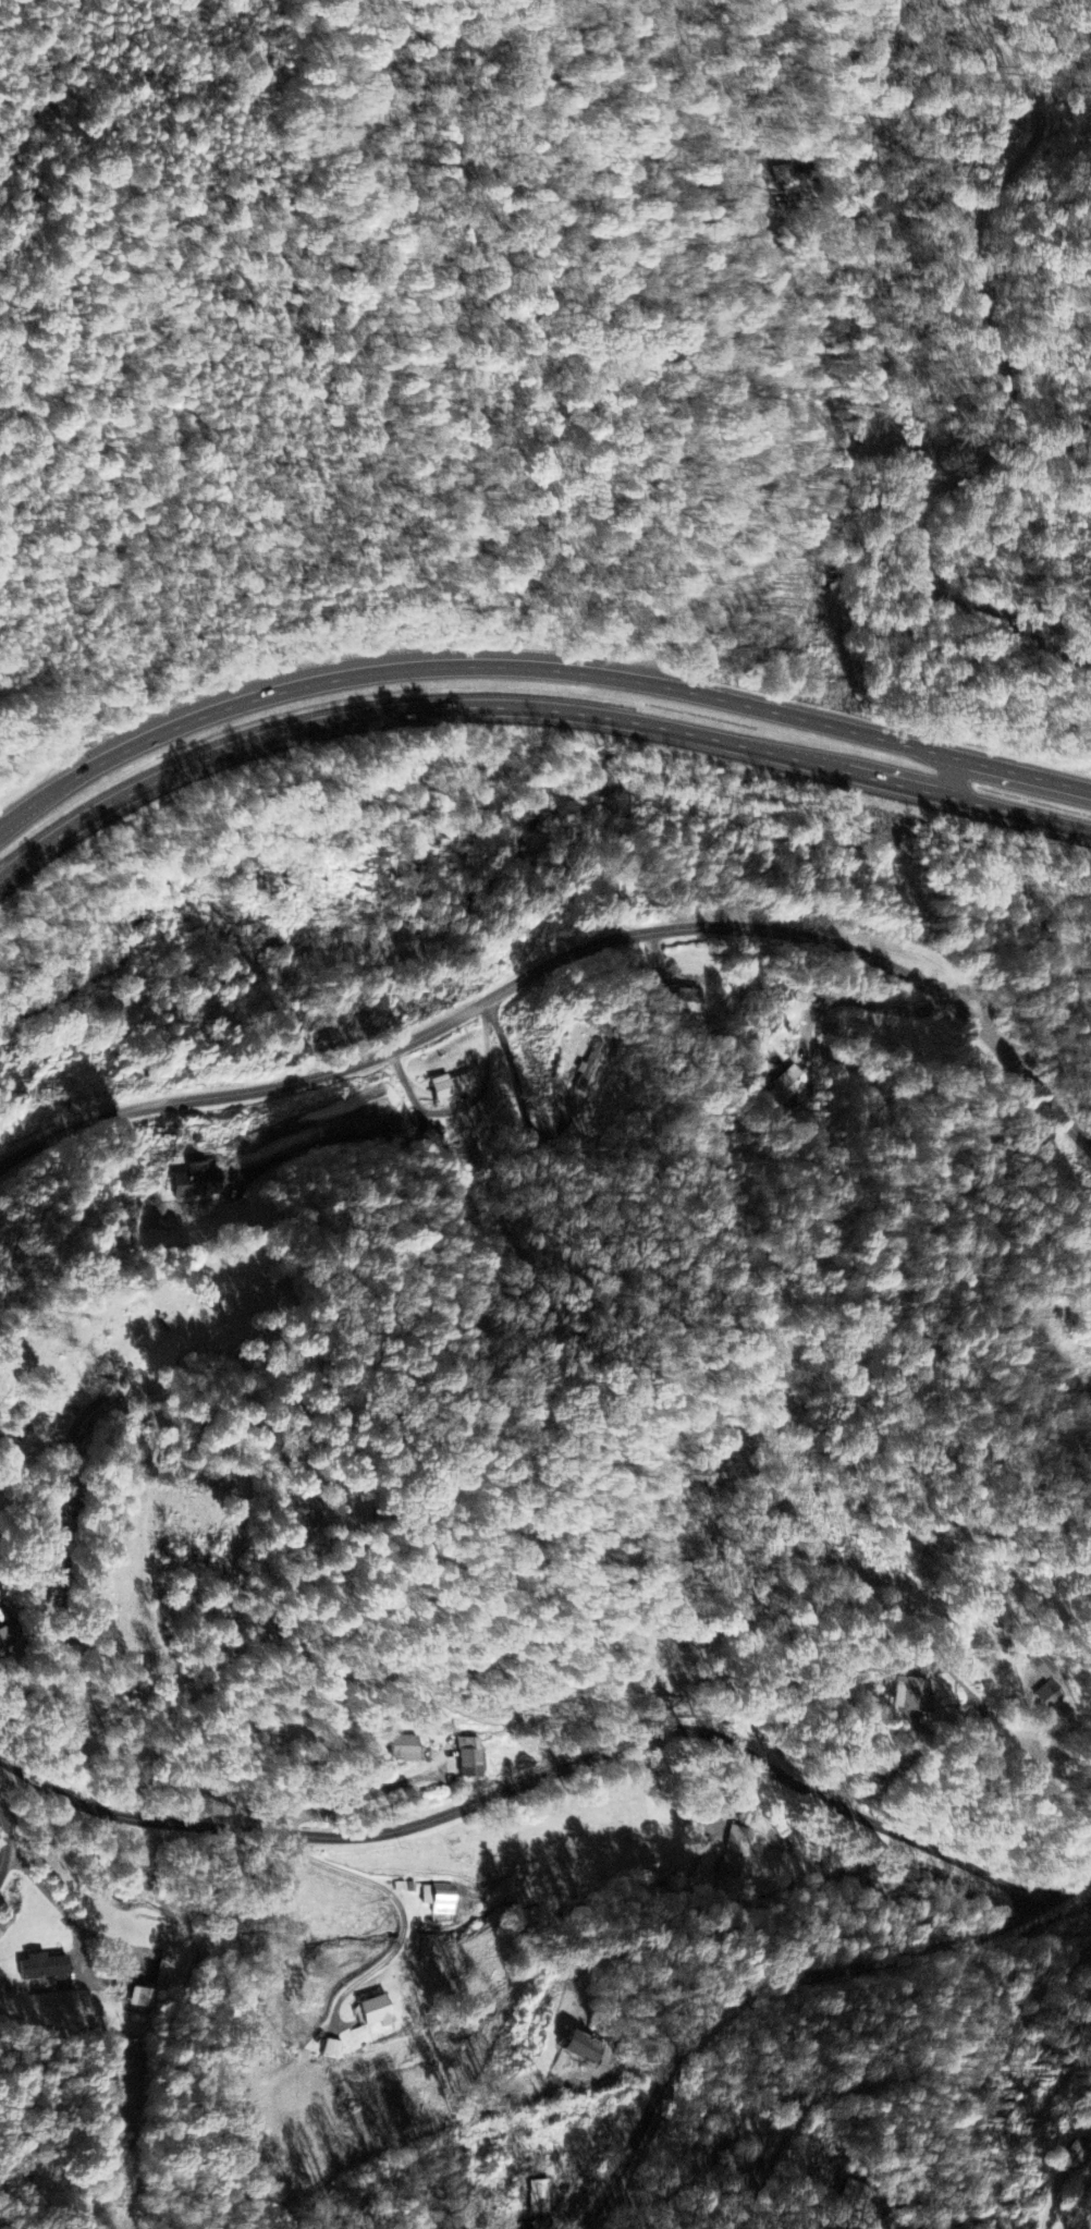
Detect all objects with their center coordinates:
road: (885, 364)
road: (535, 670)
road: (534, 706)
road: (948, 775)
road: (562, 966)
road: (1045, 1061)
building: (589, 1070)
building: (789, 1086)
building: (452, 1087)
building: (196, 1183)
building: (1041, 1668)
building: (911, 1696)
building: (1049, 1697)
building: (405, 1752)
building: (471, 1758)
road: (556, 1774)
road: (2, 1846)
building: (737, 1854)
building: (442, 1900)
building: (42, 1970)
building: (171, 1970)
road: (759, 1993)
building: (144, 1999)
building: (376, 2012)
building: (581, 2047)
road: (846, 2085)
building: (540, 2198)
road: (916, 2203)
road: (947, 2222)

